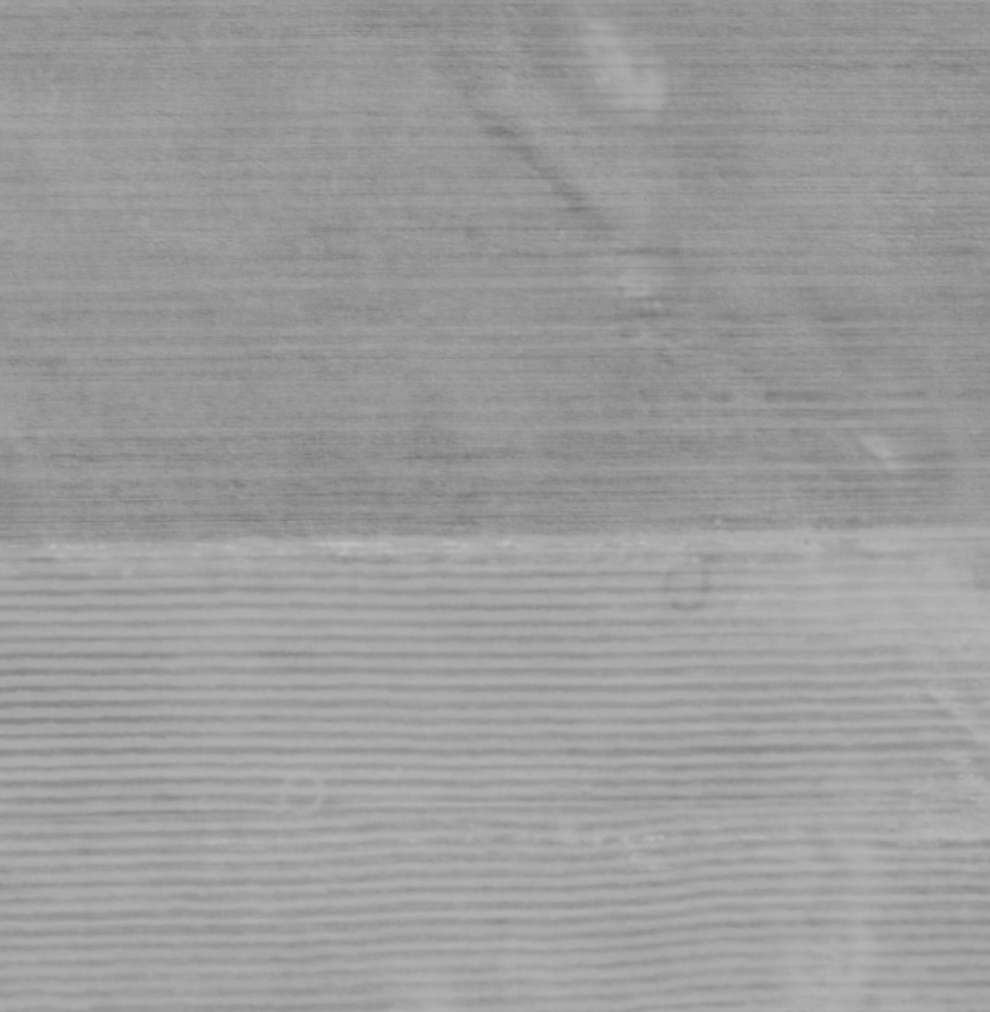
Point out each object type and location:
crop: (495, 506)

